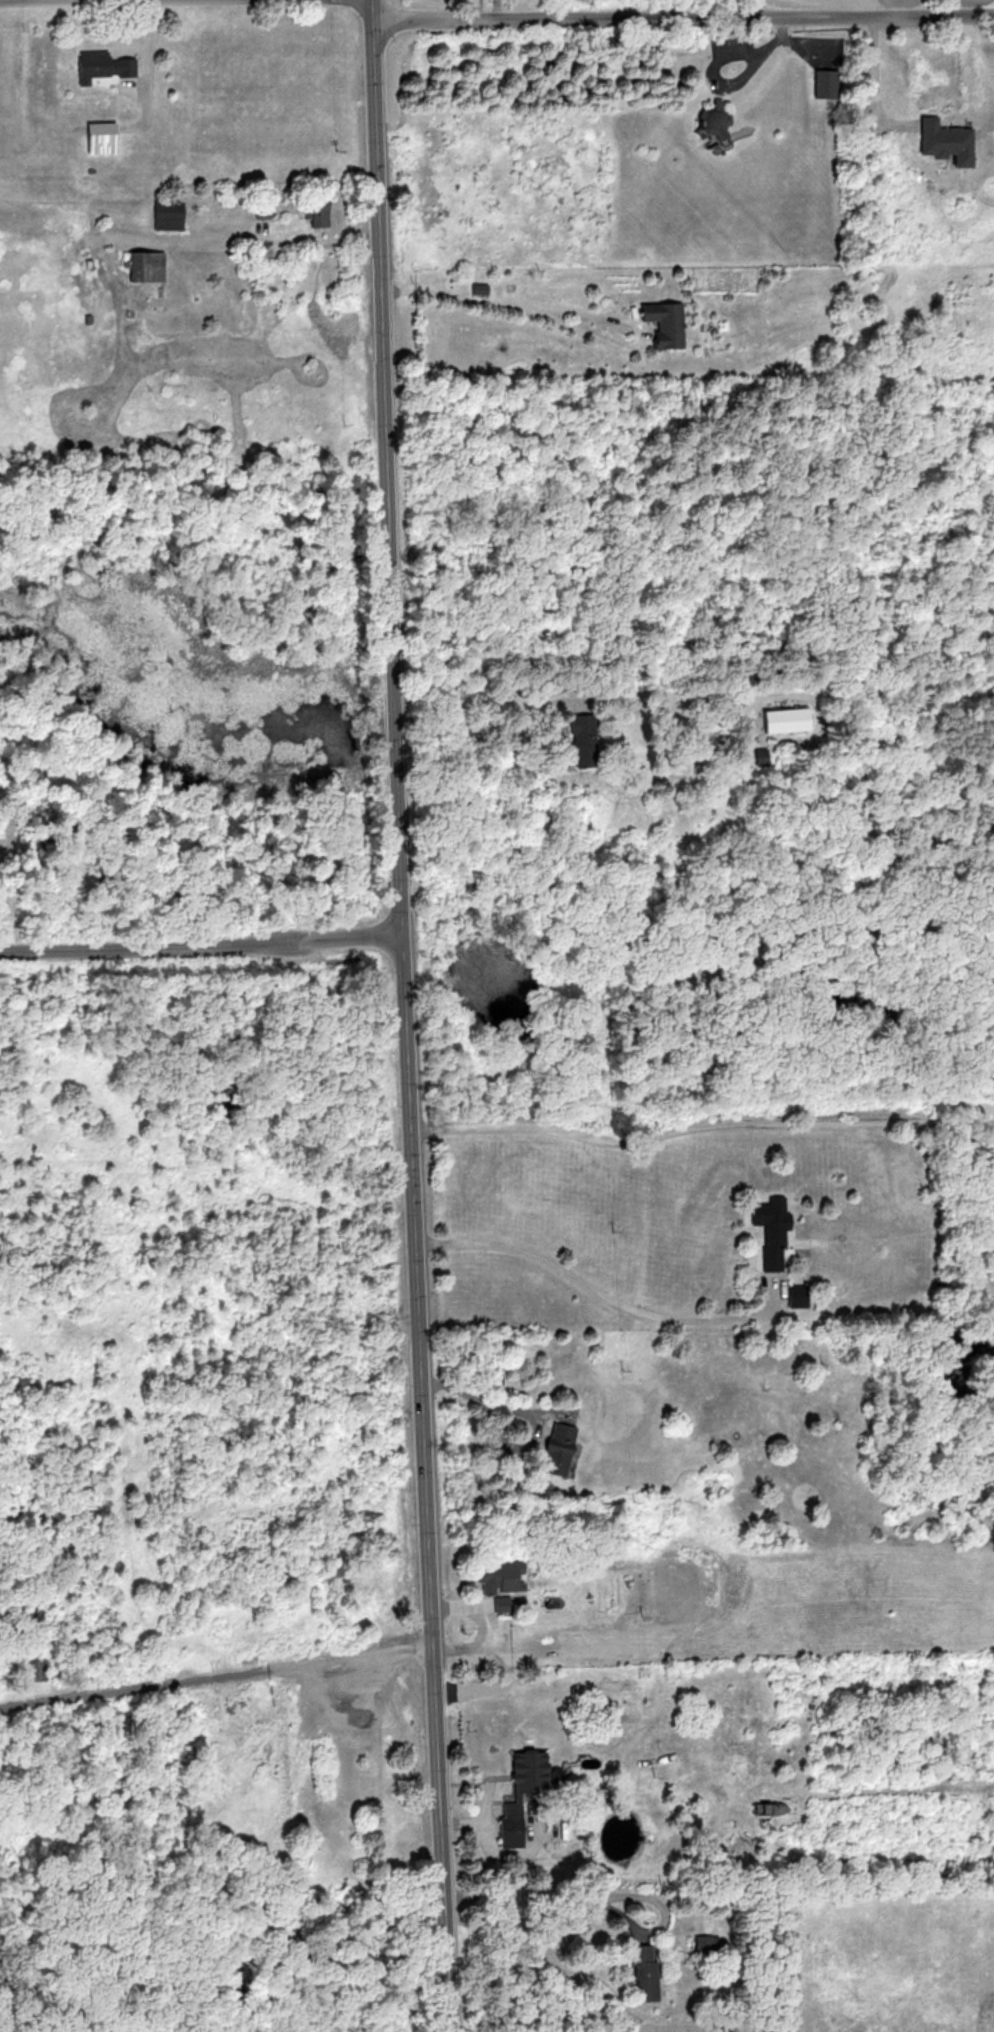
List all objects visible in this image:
road: (27, 0)
crop: (879, 3)
road: (477, 11)
road: (497, 11)
road: (683, 19)
building: (102, 65)
building: (825, 83)
building: (715, 124)
building: (102, 137)
building: (946, 141)
building: (263, 210)
building: (317, 212)
building: (168, 215)
road: (297, 240)
building: (149, 266)
road: (506, 306)
building: (665, 323)
building: (785, 719)
road: (504, 730)
building: (583, 741)
building: (760, 756)
road: (201, 948)
road: (405, 1016)
road: (700, 1127)
building: (772, 1230)
road: (592, 1288)
building: (797, 1295)
road: (503, 1437)
building: (559, 1449)
building: (499, 1576)
building: (502, 1603)
road: (215, 1679)
building: (522, 1793)
building: (771, 1808)
road: (544, 1896)
building: (706, 1942)
building: (644, 1974)

